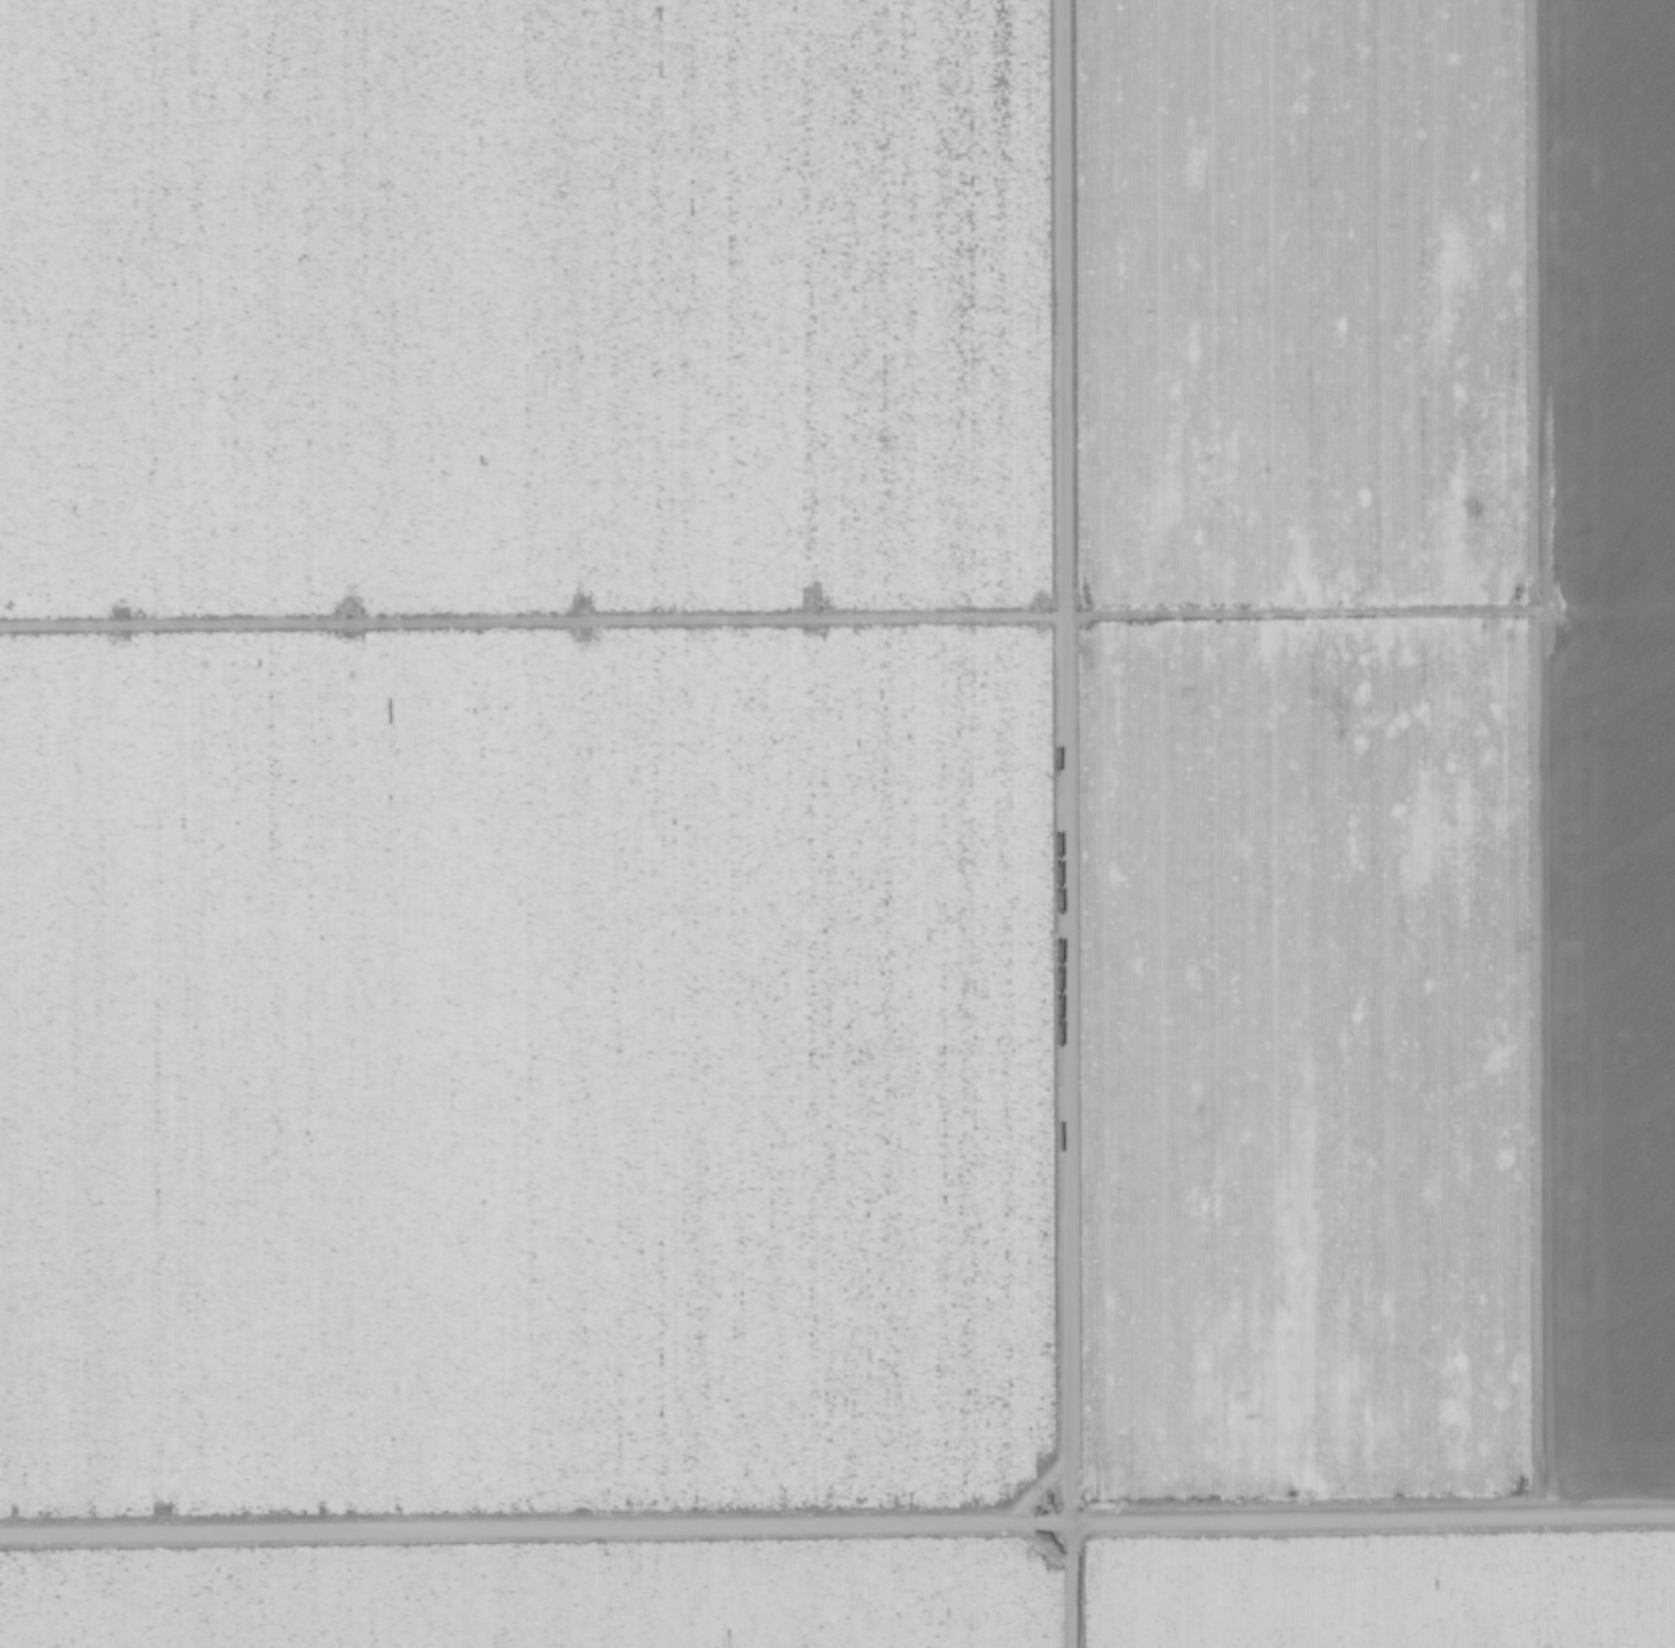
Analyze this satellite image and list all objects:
crop: (525, 823)
crop: (1362, 824)

